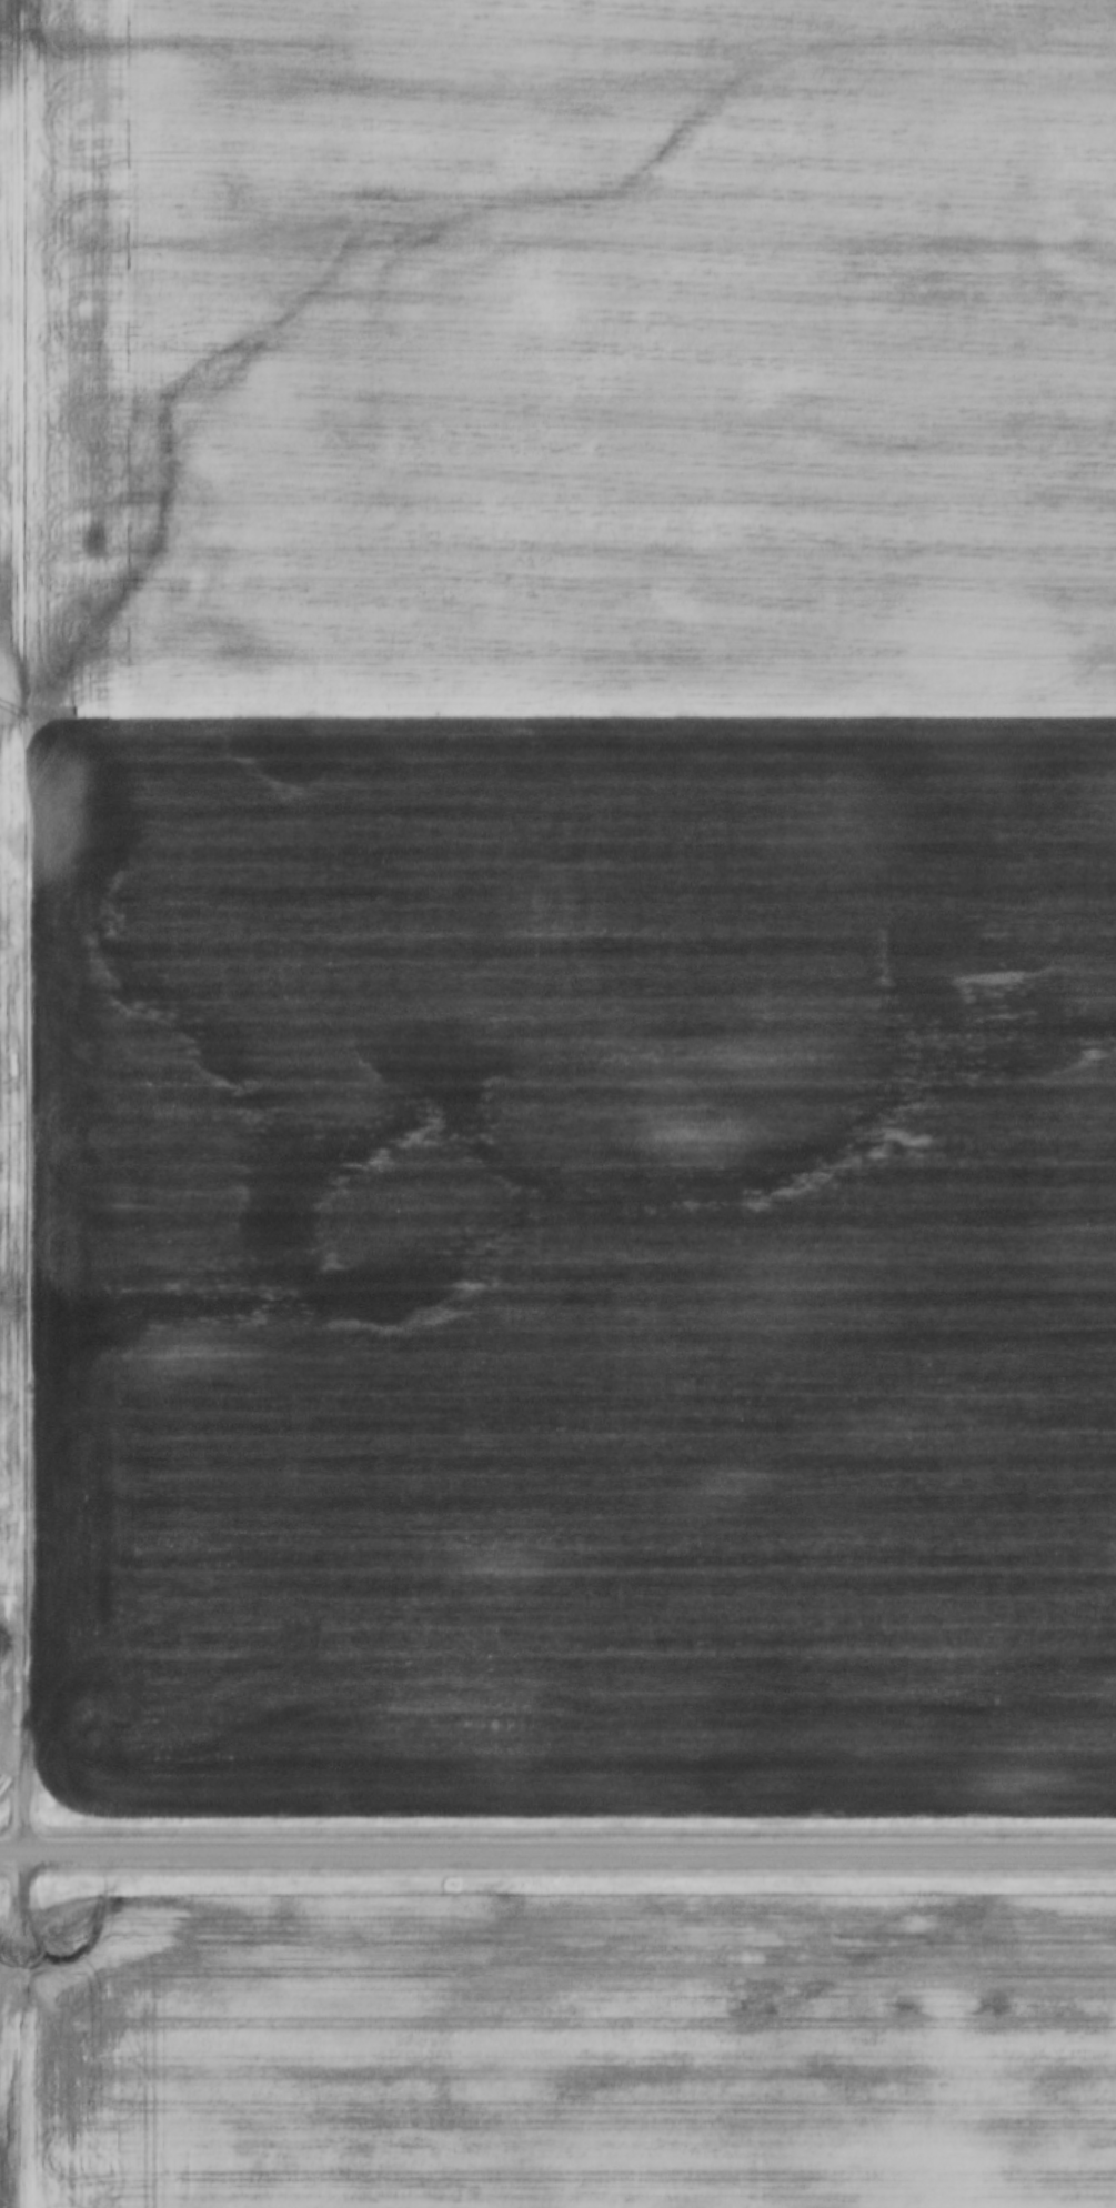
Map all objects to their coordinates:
road: (557, 1845)

